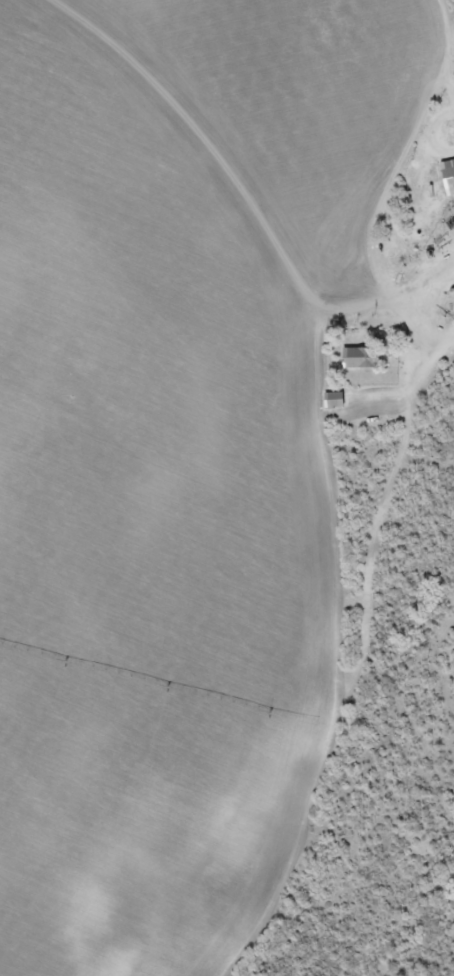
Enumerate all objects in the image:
road: (398, 177)
building: (447, 177)
building: (357, 359)
road: (430, 366)
building: (330, 400)

